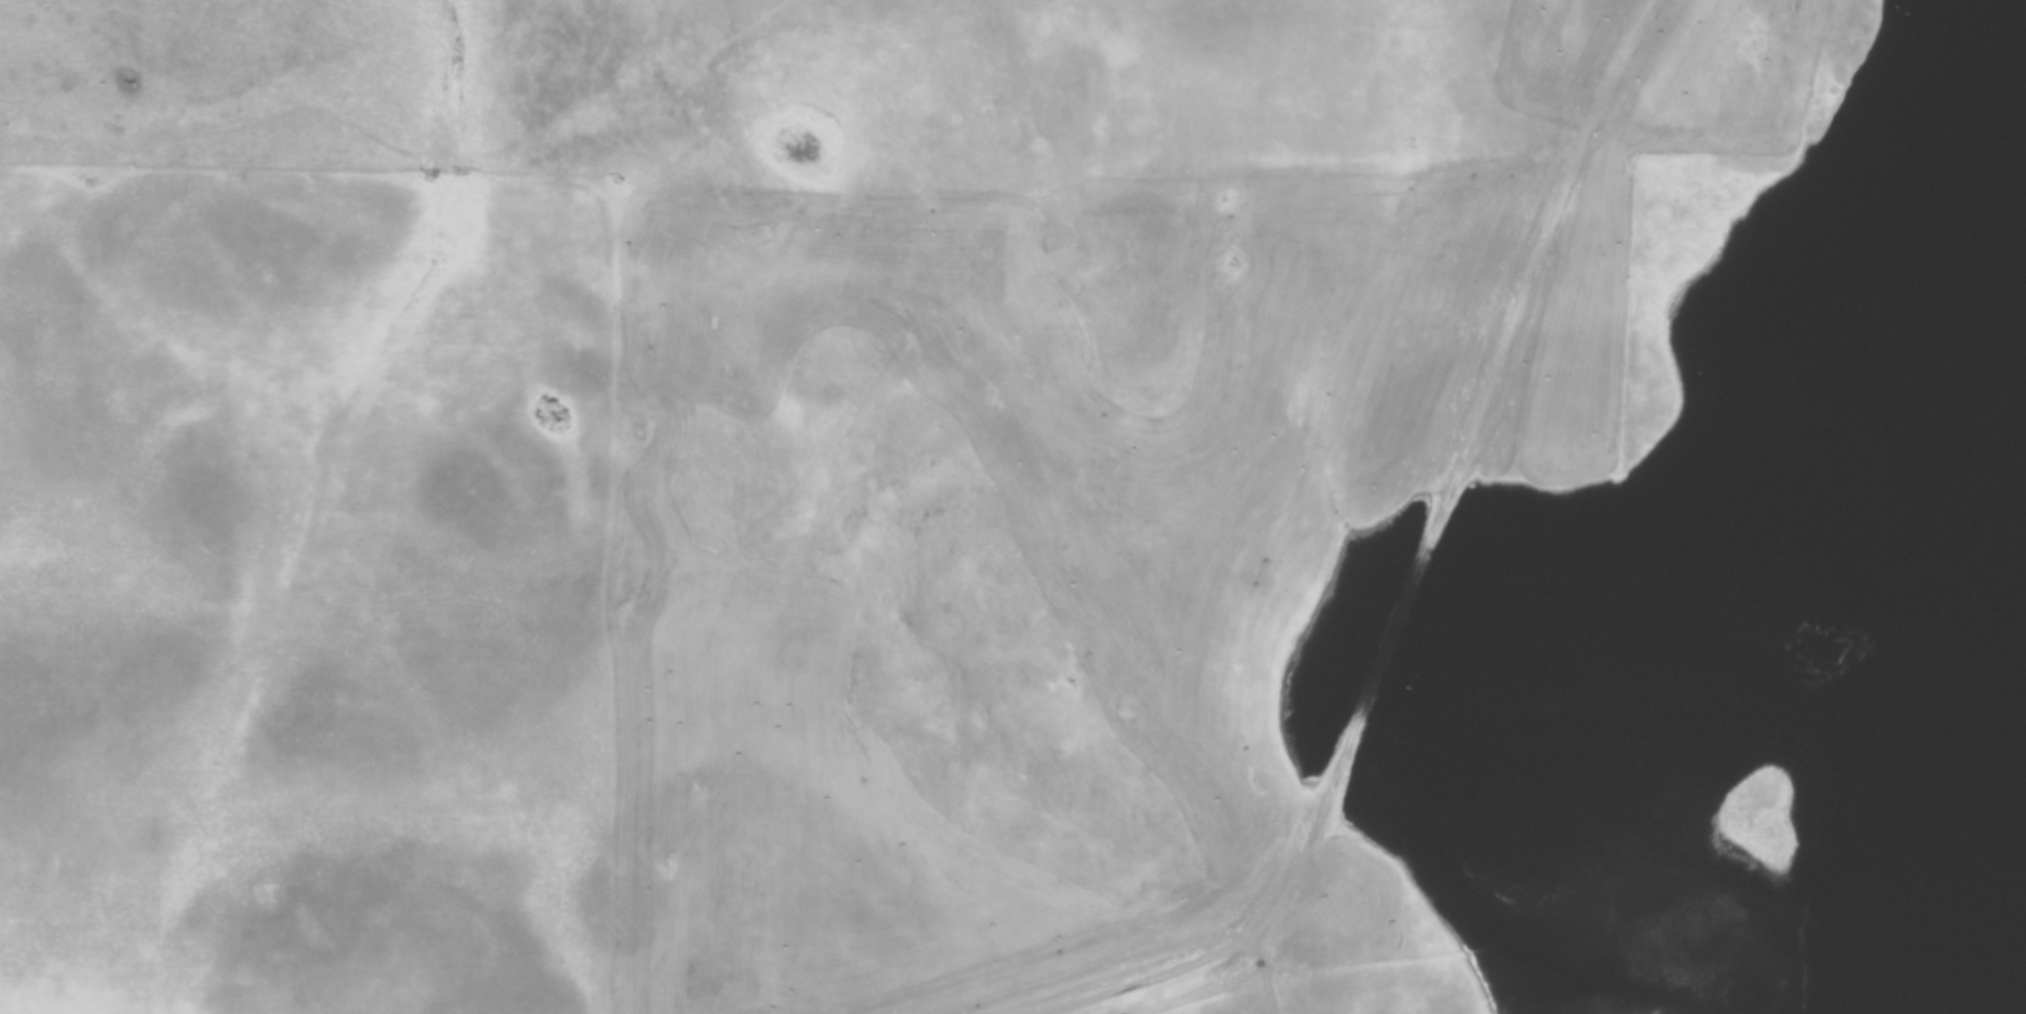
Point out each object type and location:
building: (1803, 5)
silo: (1803, 5)
road: (1485, 105)
road: (1420, 573)

